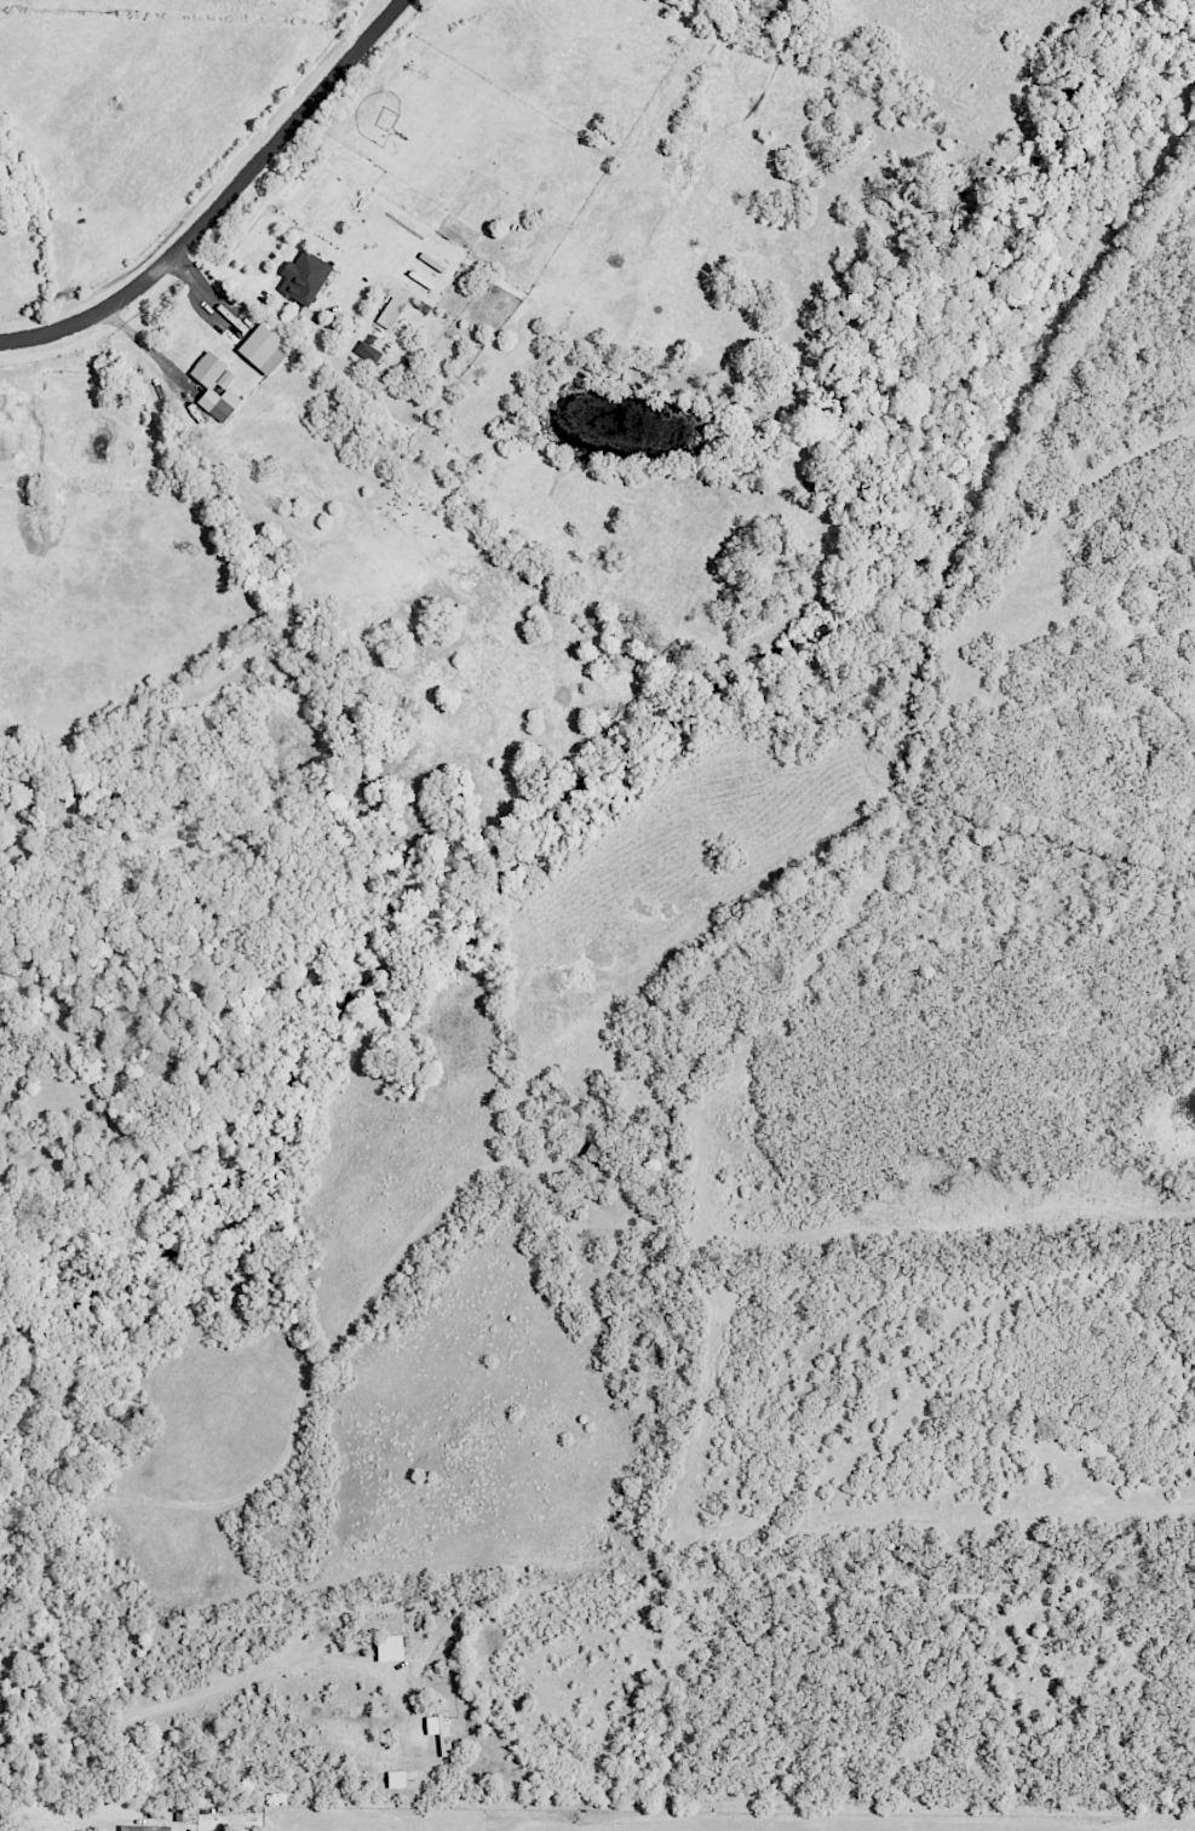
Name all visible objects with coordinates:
road: (222, 202)
building: (304, 277)
building: (391, 312)
building: (263, 349)
building: (368, 352)
building: (216, 388)
road: (87, 1557)
building: (389, 1648)
road: (203, 1693)
building: (439, 1727)
building: (396, 1780)
road: (62, 1810)
building: (144, 1829)

